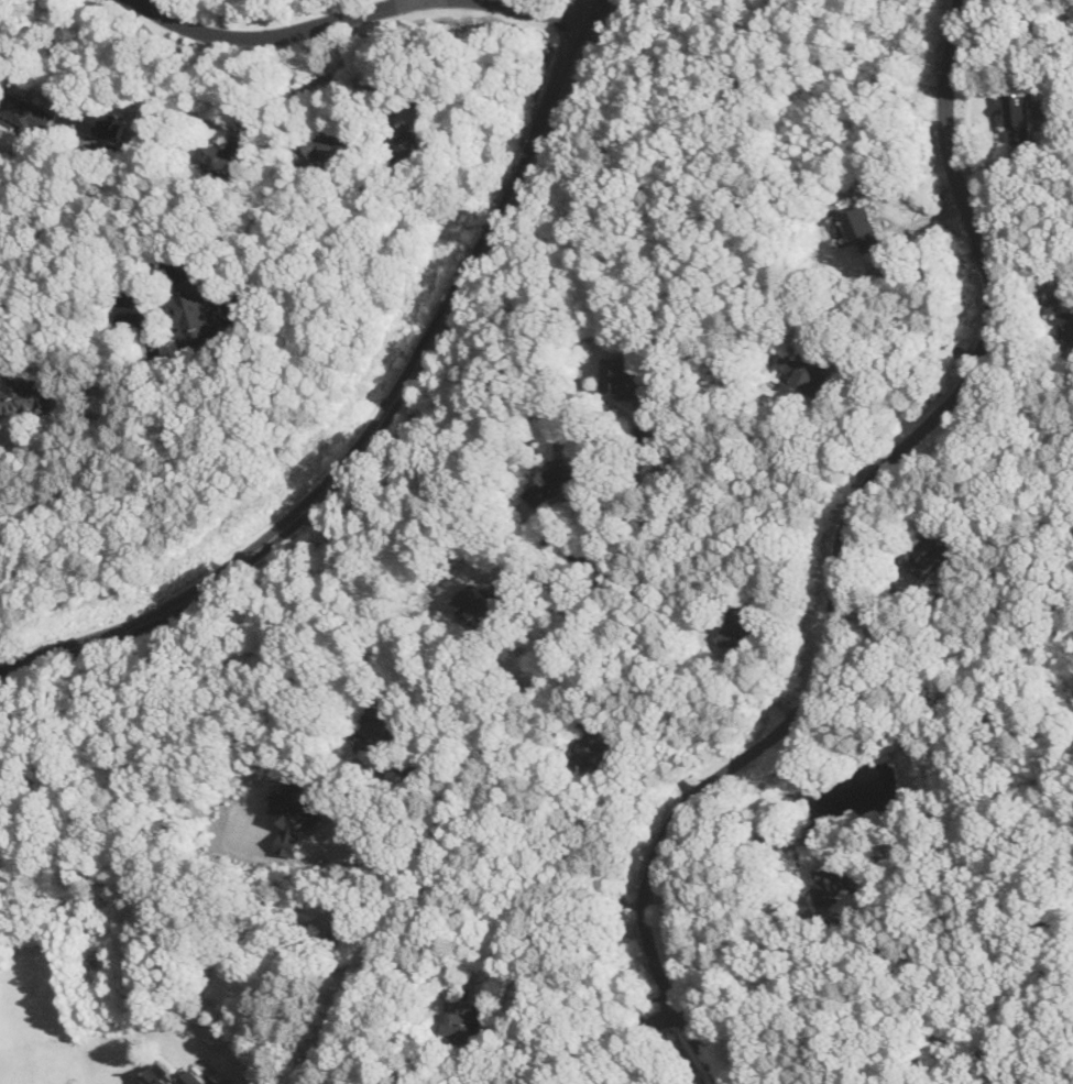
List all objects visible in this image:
road: (563, 10)
road: (226, 15)
road: (272, 33)
road: (76, 47)
road: (167, 78)
road: (311, 81)
building: (30, 113)
building: (1021, 118)
building: (105, 122)
building: (408, 144)
building: (336, 145)
building: (231, 154)
building: (862, 226)
building: (197, 308)
road: (911, 310)
building: (1059, 315)
building: (808, 368)
building: (628, 380)
building: (26, 395)
road: (383, 415)
road: (107, 449)
building: (554, 481)
road: (568, 552)
building: (930, 552)
road: (837, 557)
building: (484, 600)
building: (743, 621)
road: (634, 711)
building: (379, 720)
road: (505, 725)
building: (599, 747)
building: (300, 809)
building: (832, 883)
road: (331, 901)
road: (758, 902)
road: (540, 907)
building: (462, 1017)
road: (335, 1020)
road: (624, 1033)
building: (171, 1075)

